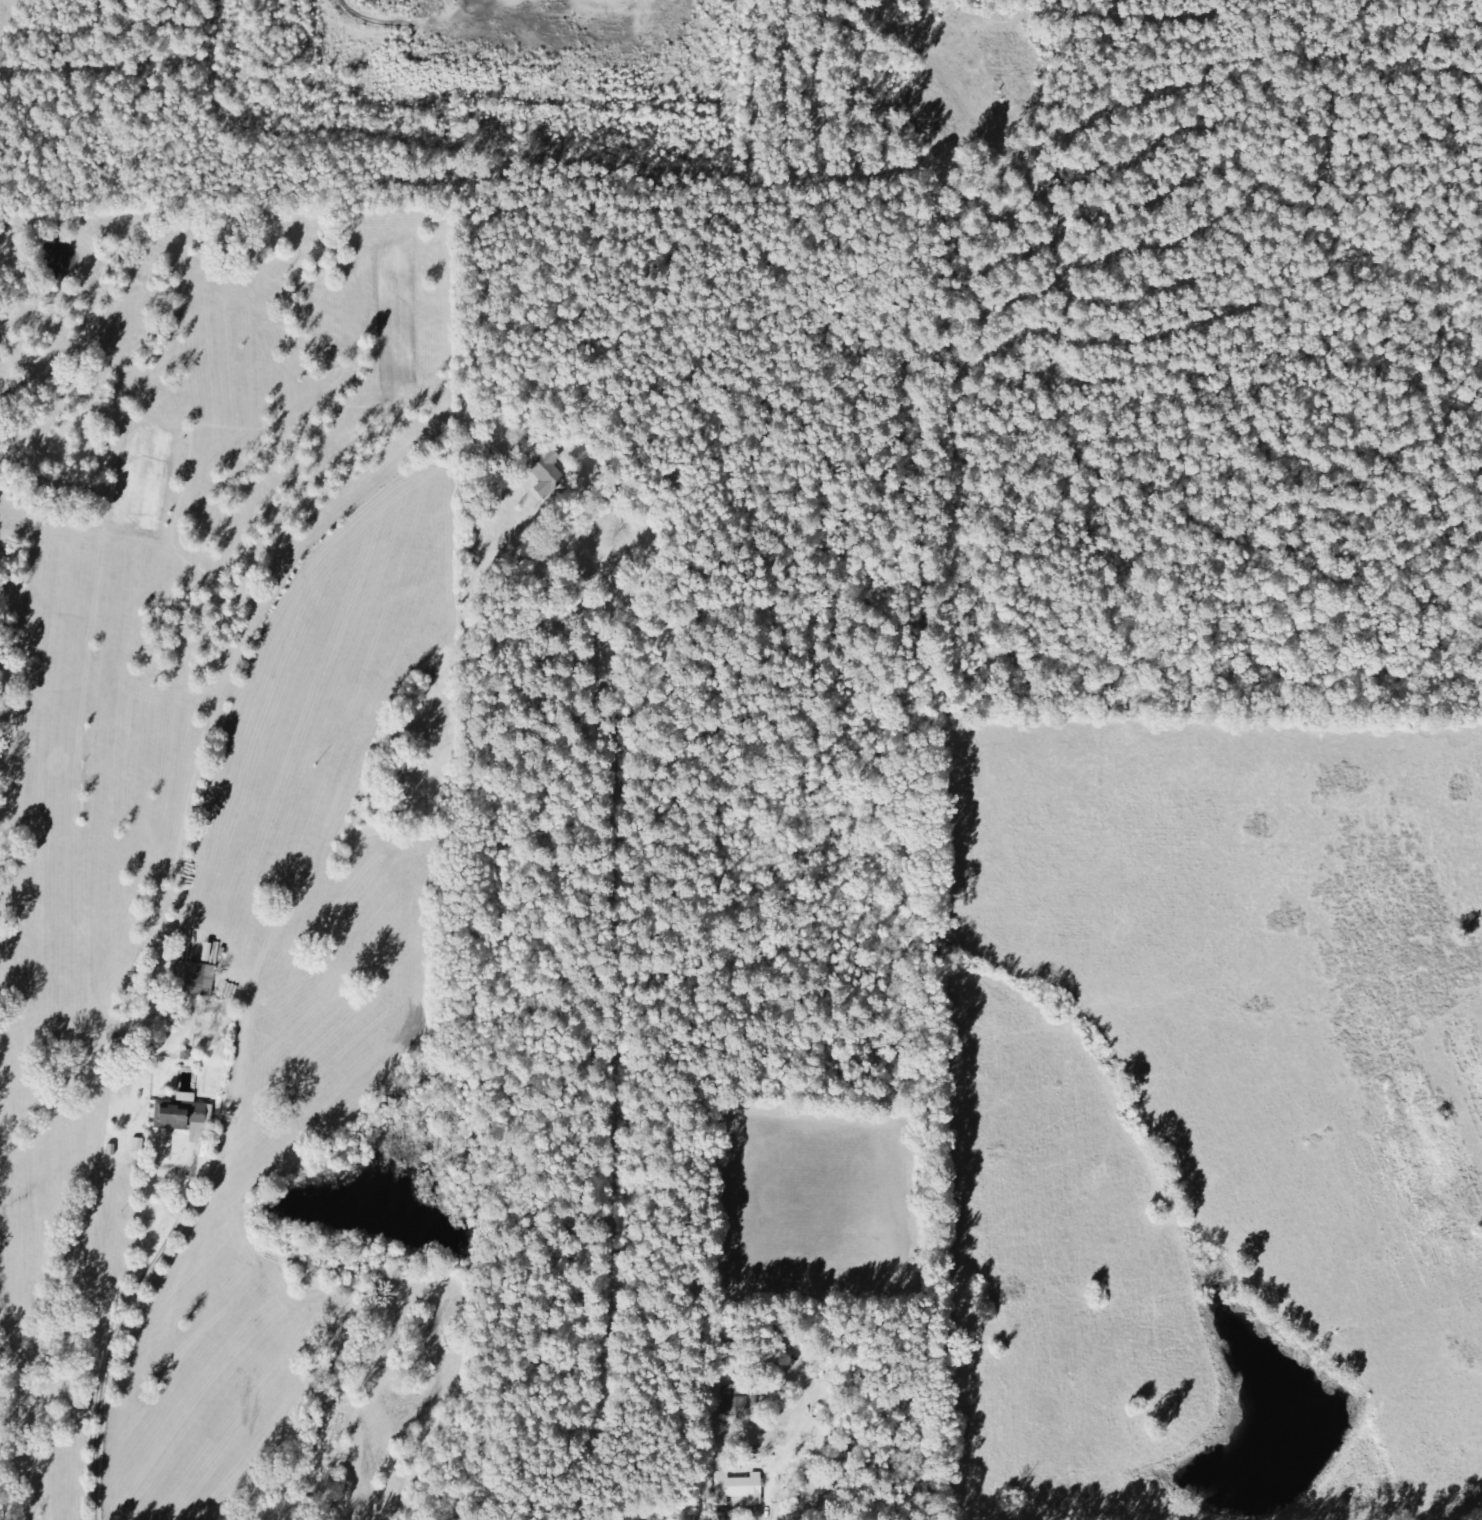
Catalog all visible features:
road: (11, 24)
building: (543, 469)
building: (197, 980)
building: (185, 1116)
road: (574, 1263)
road: (39, 1441)
building: (740, 1489)

